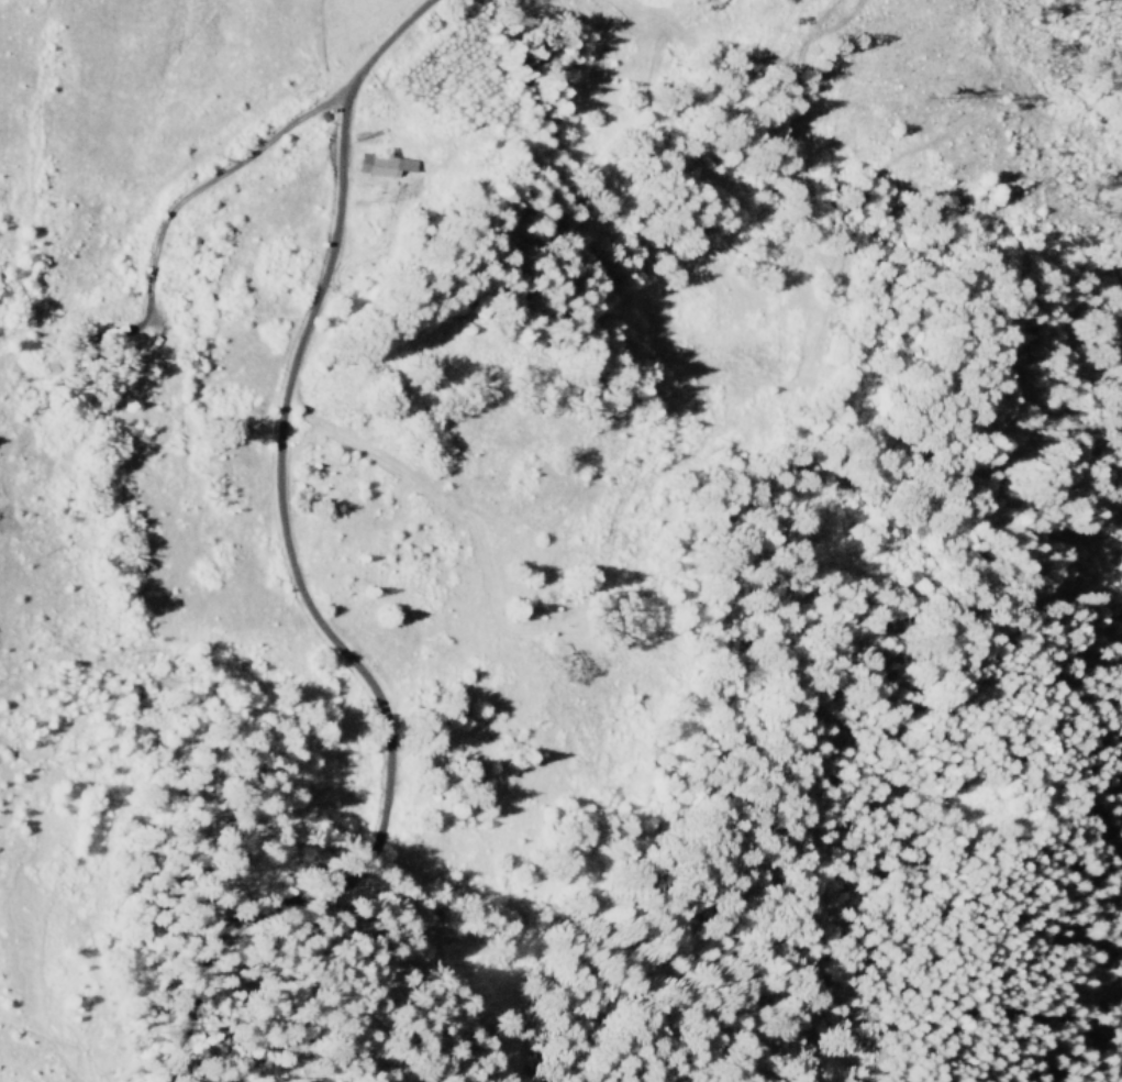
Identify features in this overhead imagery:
road: (241, 240)

